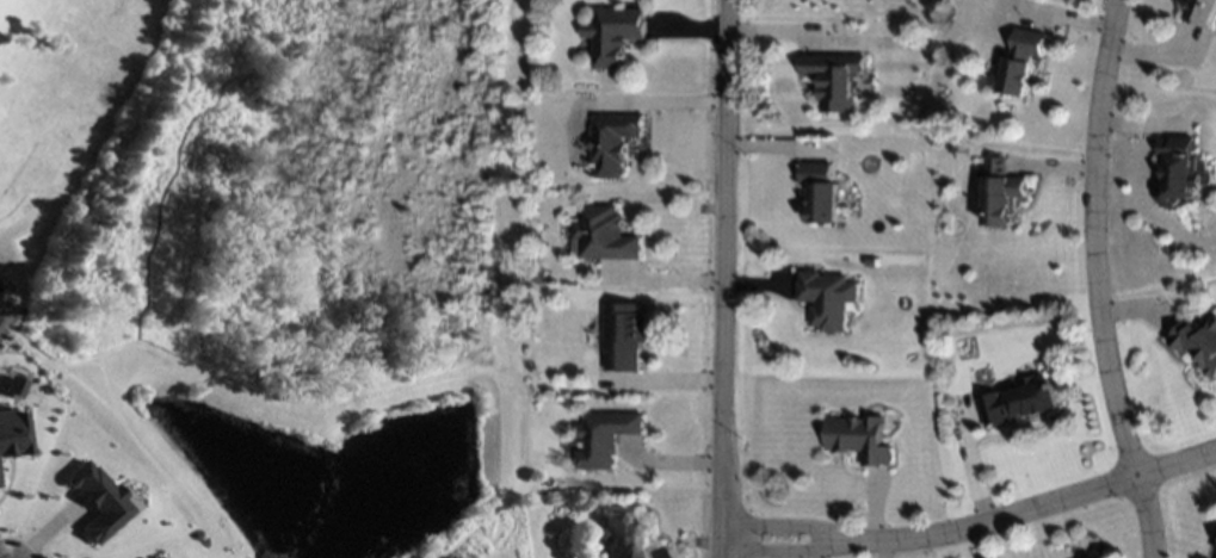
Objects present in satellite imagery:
building: (1202, 12)
building: (613, 35)
building: (1021, 62)
building: (833, 80)
park: (74, 124)
building: (612, 143)
building: (1178, 170)
building: (820, 192)
building: (1001, 193)
building: (605, 235)
road: (1091, 238)
building: (539, 277)
road: (724, 279)
building: (827, 299)
building: (623, 336)
building: (1198, 342)
building: (1018, 402)
building: (544, 405)
building: (11, 433)
building: (604, 438)
building: (859, 438)
building: (89, 500)
road: (1146, 515)
road: (974, 529)
building: (617, 535)
road: (4, 551)
building: (150, 557)
building: (158, 557)

